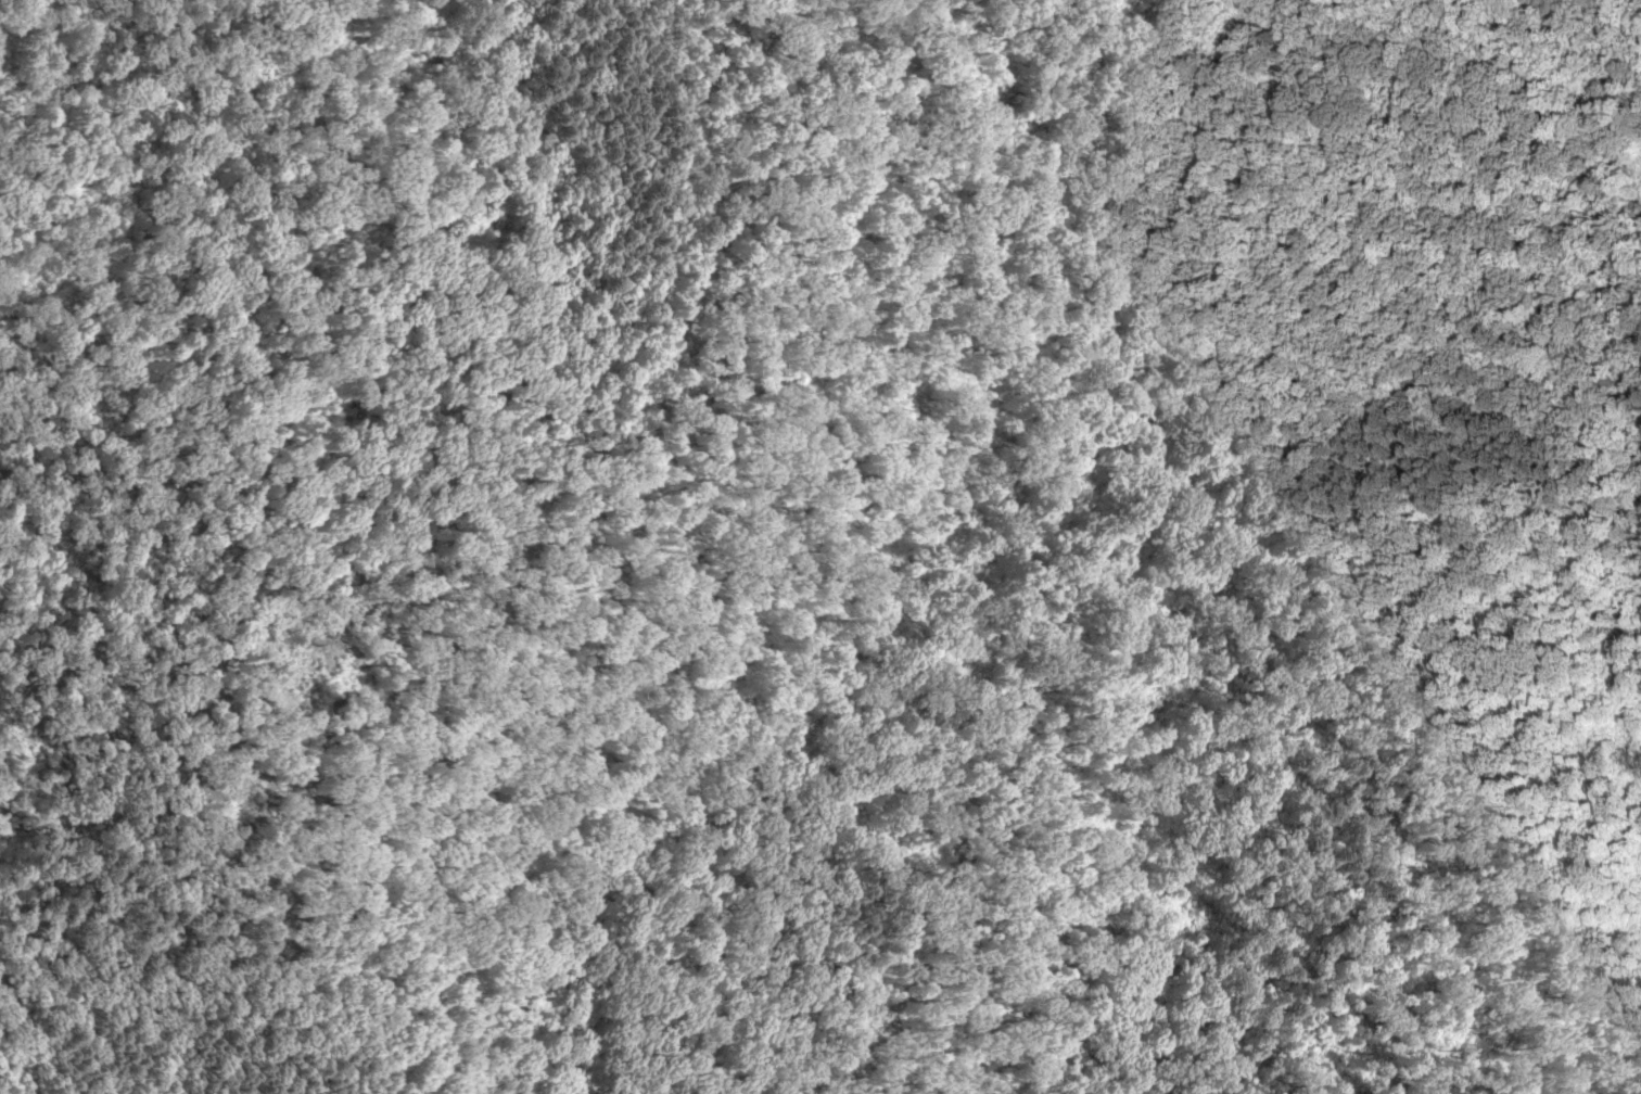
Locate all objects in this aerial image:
road: (1434, 87)

